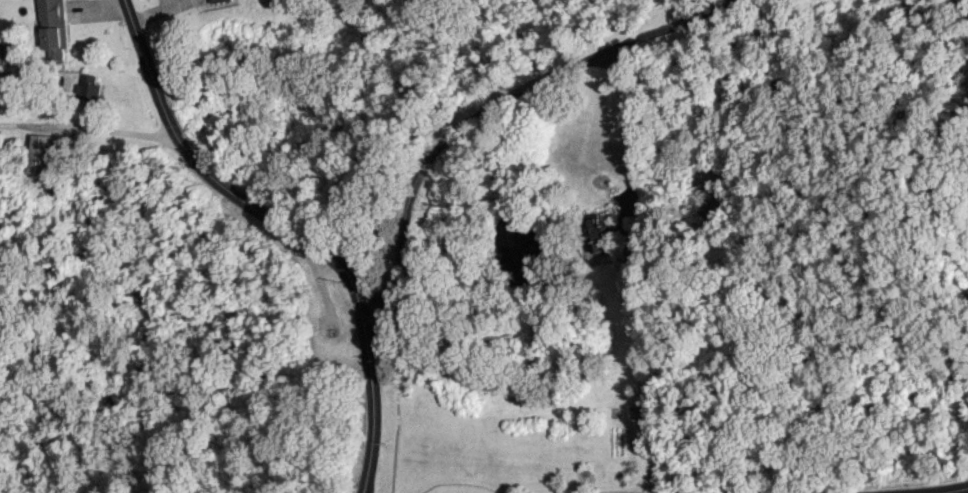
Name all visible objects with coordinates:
building: (220, 0)
building: (54, 29)
building: (9, 54)
building: (90, 87)
road: (473, 117)
road: (87, 129)
road: (633, 131)
building: (44, 153)
road: (292, 228)
building: (594, 234)
road: (946, 490)

